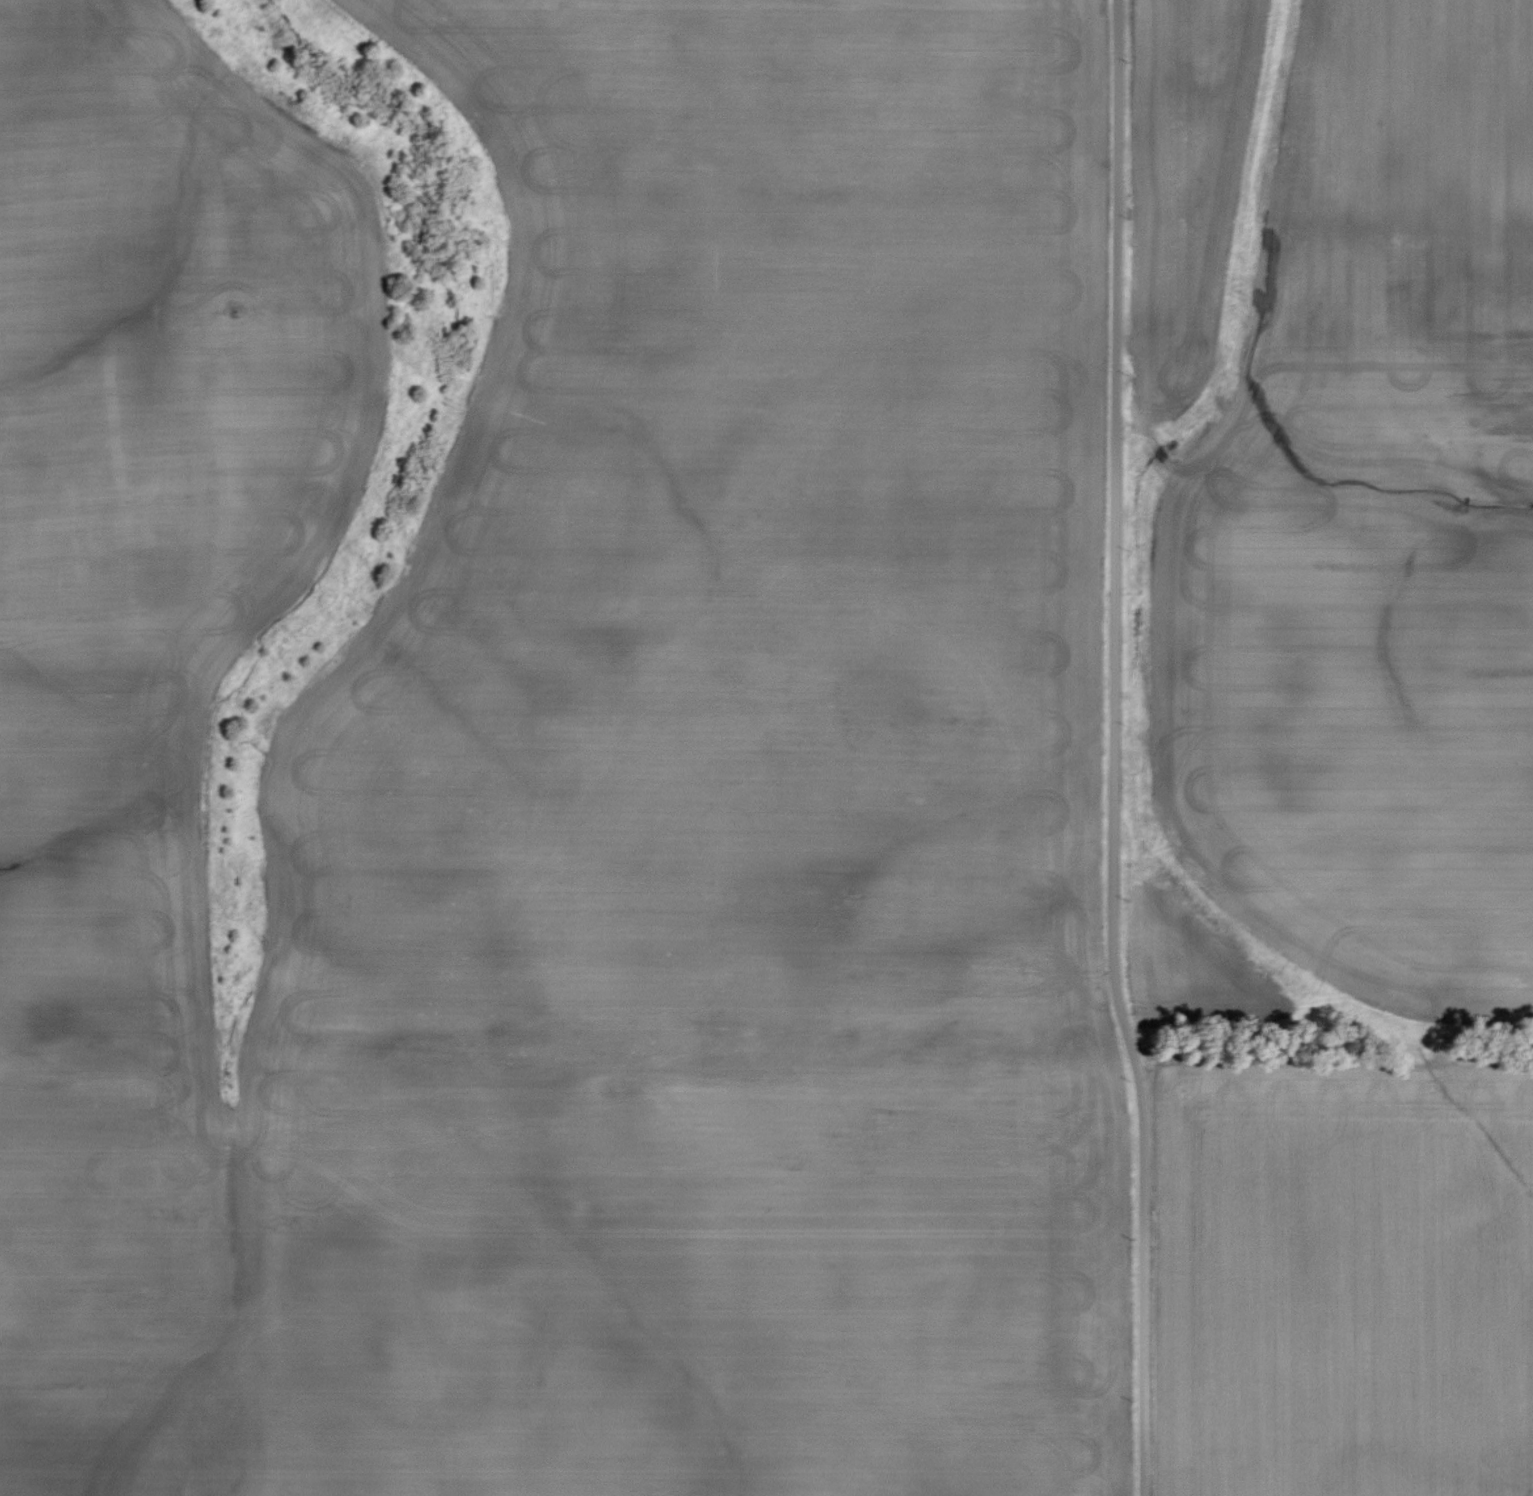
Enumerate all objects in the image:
road: (1112, 538)
road: (1139, 1284)

